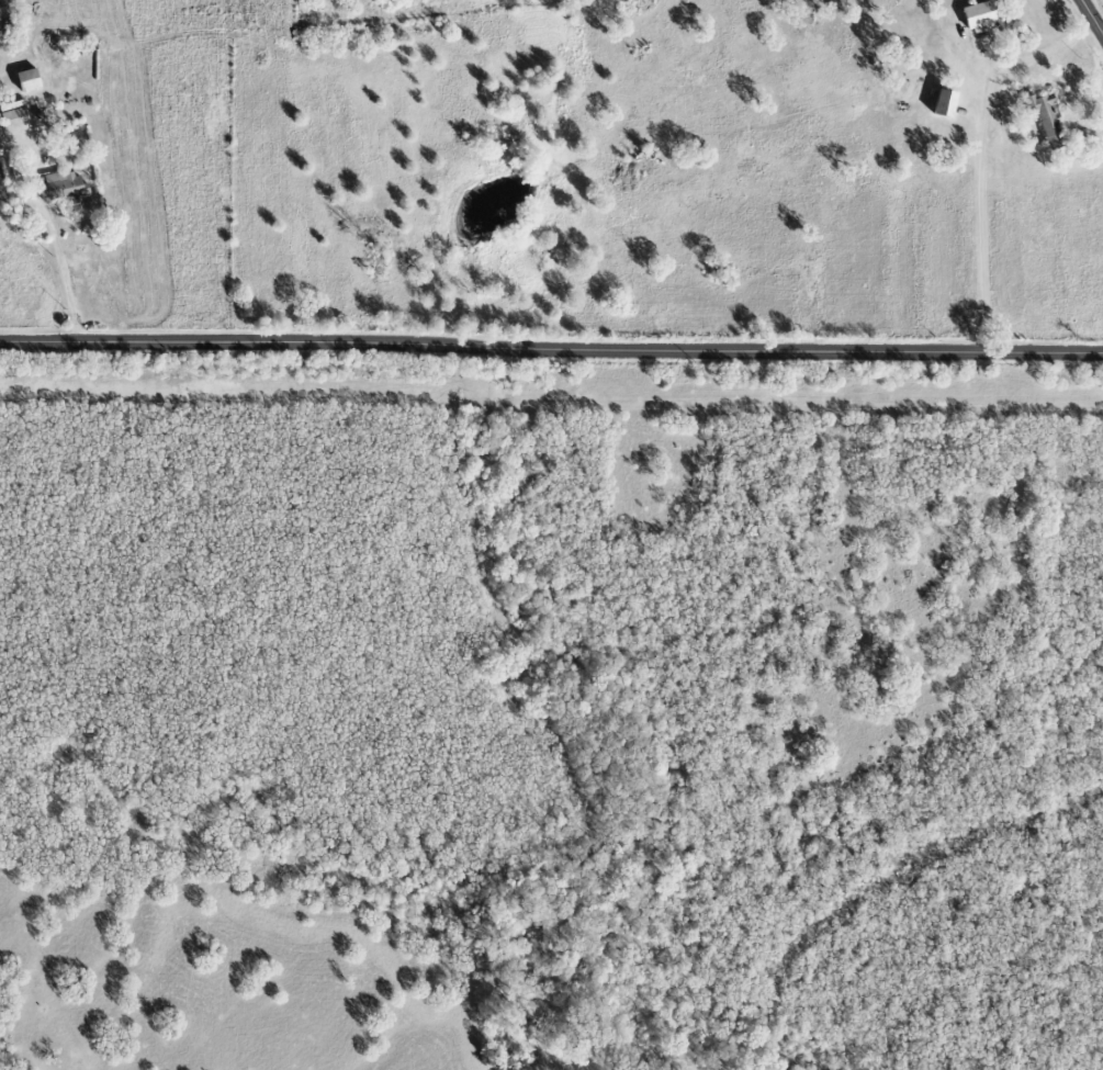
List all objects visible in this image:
road: (1092, 16)
building: (979, 19)
building: (27, 80)
building: (1043, 114)
road: (981, 157)
building: (60, 188)
road: (71, 282)
road: (551, 352)

